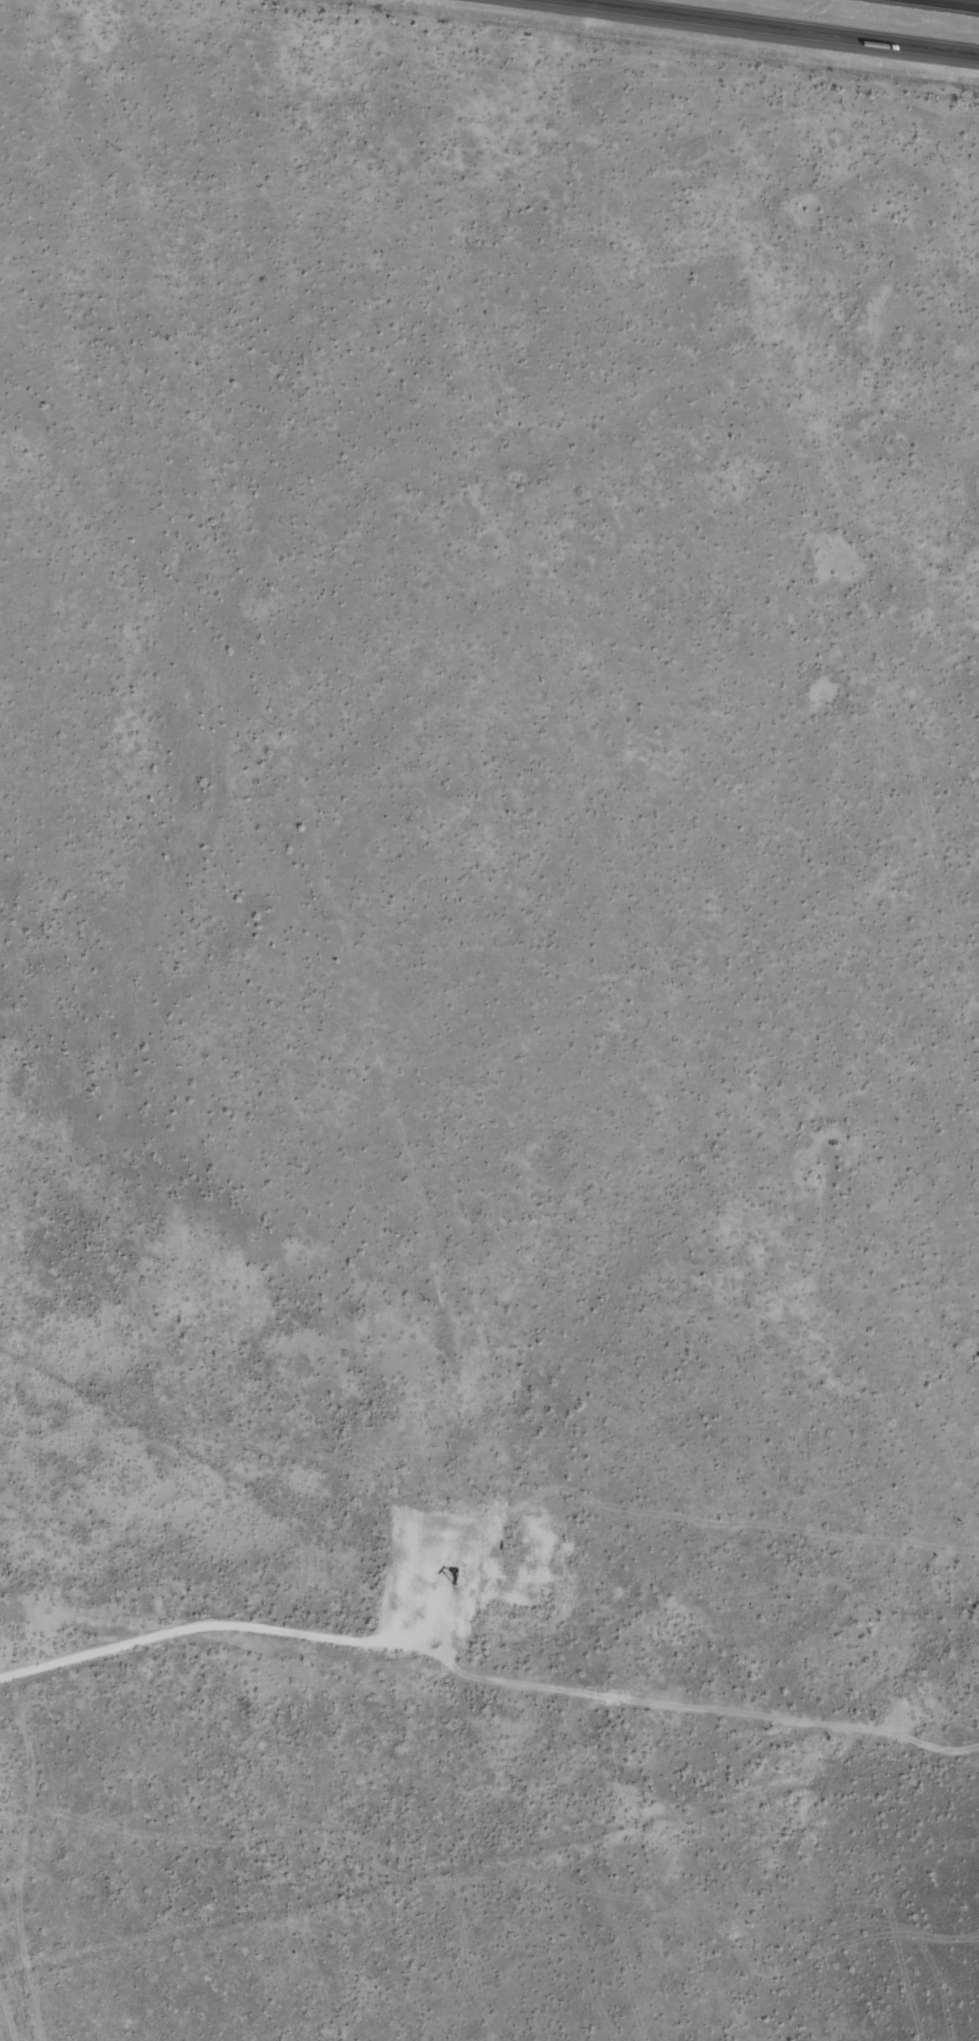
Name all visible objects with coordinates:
road: (950, 3)
road: (768, 28)

